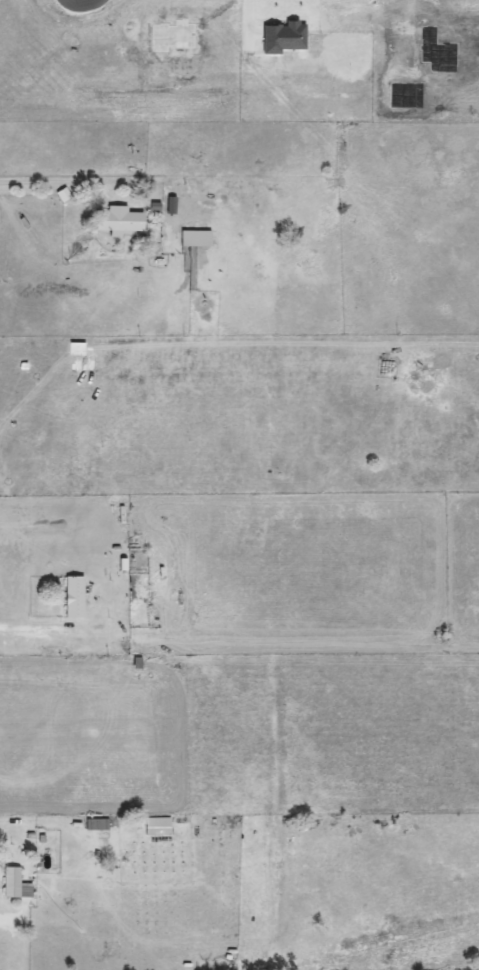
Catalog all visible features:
road: (38, 182)
building: (116, 221)
building: (193, 238)
building: (72, 598)
road: (30, 627)
building: (95, 825)
building: (156, 827)
building: (13, 884)

